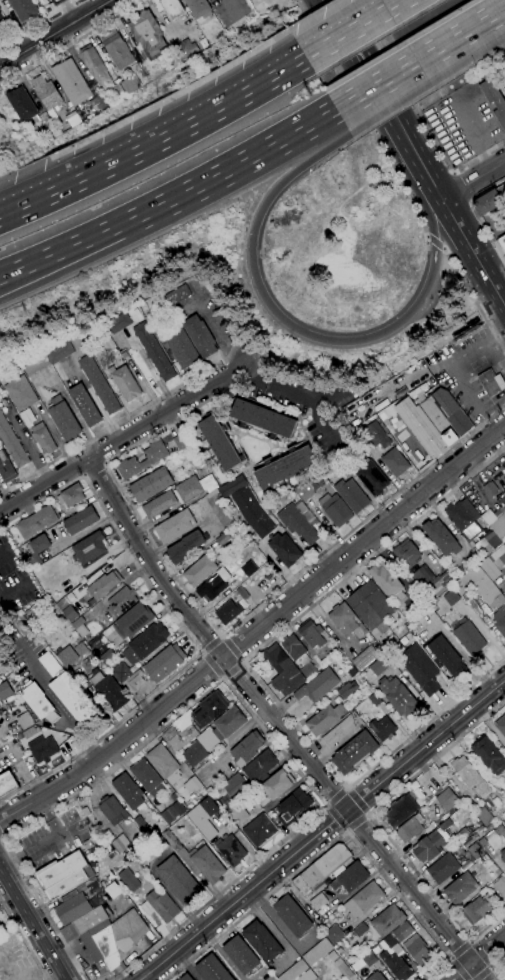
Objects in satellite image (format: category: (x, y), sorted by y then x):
parking lot: (457, 1)
building: (58, 2)
road: (53, 6)
building: (197, 7)
building: (169, 8)
building: (23, 9)
parking lot: (230, 10)
road: (39, 23)
building: (3, 26)
road: (356, 30)
road: (55, 32)
building: (147, 33)
road: (460, 36)
road: (70, 42)
building: (117, 49)
building: (185, 49)
road: (360, 60)
building: (95, 67)
building: (131, 80)
building: (71, 83)
road: (398, 83)
road: (375, 86)
building: (115, 91)
building: (45, 93)
building: (494, 101)
building: (98, 103)
road: (387, 103)
building: (22, 105)
road: (364, 118)
building: (71, 119)
road: (474, 138)
road: (156, 144)
road: (476, 159)
road: (453, 172)
road: (474, 179)
road: (460, 187)
road: (486, 192)
road: (170, 198)
road: (469, 201)
building: (488, 203)
road: (451, 210)
road: (488, 233)
traffic signals: (253, 236)
road: (435, 242)
building: (502, 242)
building: (176, 295)
road: (474, 298)
building: (116, 324)
road: (214, 332)
road: (494, 334)
building: (199, 336)
road: (330, 338)
building: (181, 348)
building: (153, 352)
road: (466, 352)
building: (58, 353)
road: (494, 357)
building: (34, 364)
building: (491, 382)
building: (124, 383)
building: (98, 384)
road: (293, 390)
building: (19, 394)
building: (45, 394)
road: (473, 398)
building: (84, 405)
building: (446, 416)
building: (26, 417)
building: (63, 418)
building: (262, 419)
building: (422, 428)
building: (376, 435)
road: (124, 437)
building: (42, 438)
building: (179, 442)
building: (11, 443)
building: (219, 444)
building: (179, 455)
building: (152, 460)
building: (394, 462)
road: (104, 463)
building: (284, 467)
building: (5, 468)
road: (94, 468)
road: (84, 475)
building: (370, 476)
building: (151, 485)
building: (502, 485)
building: (193, 488)
road: (120, 489)
building: (490, 489)
building: (303, 491)
building: (351, 495)
building: (71, 496)
building: (159, 505)
building: (246, 505)
building: (219, 508)
building: (335, 509)
building: (499, 511)
building: (65, 513)
building: (489, 517)
building: (464, 518)
building: (80, 521)
building: (36, 522)
building: (297, 524)
building: (174, 526)
building: (499, 527)
building: (441, 537)
building: (222, 539)
building: (487, 544)
building: (91, 547)
building: (186, 547)
road: (262, 549)
building: (284, 549)
building: (37, 550)
road: (373, 553)
building: (407, 553)
road: (3, 554)
building: (498, 557)
building: (248, 569)
building: (199, 571)
building: (409, 580)
building: (387, 581)
building: (431, 581)
building: (103, 585)
building: (213, 586)
building: (242, 593)
building: (483, 595)
building: (121, 601)
building: (419, 603)
building: (37, 605)
building: (370, 607)
building: (66, 609)
building: (228, 612)
building: (133, 621)
building: (348, 623)
building: (79, 626)
road: (184, 629)
road: (257, 631)
building: (311, 634)
road: (221, 637)
building: (469, 637)
building: (0, 639)
building: (145, 643)
road: (211, 643)
building: (81, 649)
road: (230, 649)
building: (338, 651)
road: (204, 652)
building: (106, 655)
building: (298, 655)
building: (1, 656)
building: (66, 656)
building: (447, 656)
building: (365, 658)
building: (0, 661)
road: (241, 661)
building: (164, 663)
road: (214, 663)
building: (378, 667)
building: (419, 669)
road: (232, 670)
building: (282, 671)
building: (351, 672)
building: (121, 673)
road: (222, 677)
road: (223, 680)
building: (132, 682)
building: (373, 683)
building: (317, 686)
building: (4, 690)
building: (347, 690)
building: (108, 691)
building: (71, 695)
building: (397, 696)
building: (374, 700)
road: (55, 702)
building: (38, 703)
building: (209, 709)
building: (325, 718)
building: (24, 721)
building: (229, 723)
road: (278, 725)
building: (501, 725)
building: (382, 729)
building: (29, 732)
building: (338, 732)
building: (180, 733)
building: (42, 748)
building: (247, 749)
building: (354, 752)
road: (5, 754)
building: (194, 754)
building: (488, 755)
building: (163, 764)
building: (259, 766)
road: (362, 775)
building: (470, 776)
building: (146, 778)
building: (7, 784)
building: (233, 784)
building: (192, 785)
building: (274, 787)
road: (345, 789)
building: (209, 790)
building: (128, 792)
road: (336, 798)
building: (446, 799)
road: (354, 802)
road: (327, 804)
building: (209, 806)
building: (293, 806)
building: (112, 810)
building: (82, 811)
building: (400, 811)
building: (484, 813)
building: (169, 814)
building: (237, 814)
road: (366, 814)
road: (337, 816)
road: (355, 821)
building: (504, 824)
road: (377, 825)
building: (144, 827)
building: (490, 827)
road: (321, 828)
road: (346, 829)
building: (410, 829)
building: (259, 830)
building: (499, 831)
building: (463, 834)
road: (1, 837)
road: (332, 841)
building: (482, 842)
building: (121, 843)
building: (432, 843)
building: (87, 844)
building: (110, 848)
building: (230, 850)
building: (153, 851)
building: (126, 852)
building: (474, 853)
building: (502, 856)
building: (198, 859)
building: (443, 868)
building: (321, 869)
building: (63, 875)
building: (350, 878)
building: (127, 880)
building: (179, 881)
building: (500, 886)
building: (462, 887)
building: (363, 900)
building: (318, 902)
building: (159, 906)
building: (72, 908)
building: (475, 910)
building: (292, 916)
building: (90, 920)
building: (386, 920)
road: (33, 925)
building: (361, 929)
building: (403, 931)
building: (334, 934)
building: (114, 939)
road: (23, 941)
building: (263, 941)
road: (470, 942)
building: (375, 950)
building: (417, 950)
road: (460, 950)
building: (317, 952)
road: (478, 954)
building: (241, 955)
road: (477, 957)
road: (451, 958)
building: (368, 959)
building: (394, 959)
road: (492, 965)
building: (504, 966)
road: (461, 968)
road: (490, 968)
building: (212, 969)
building: (343, 969)
building: (294, 971)
road: (479, 972)
building: (307, 976)
building: (376, 976)
building: (186, 977)

